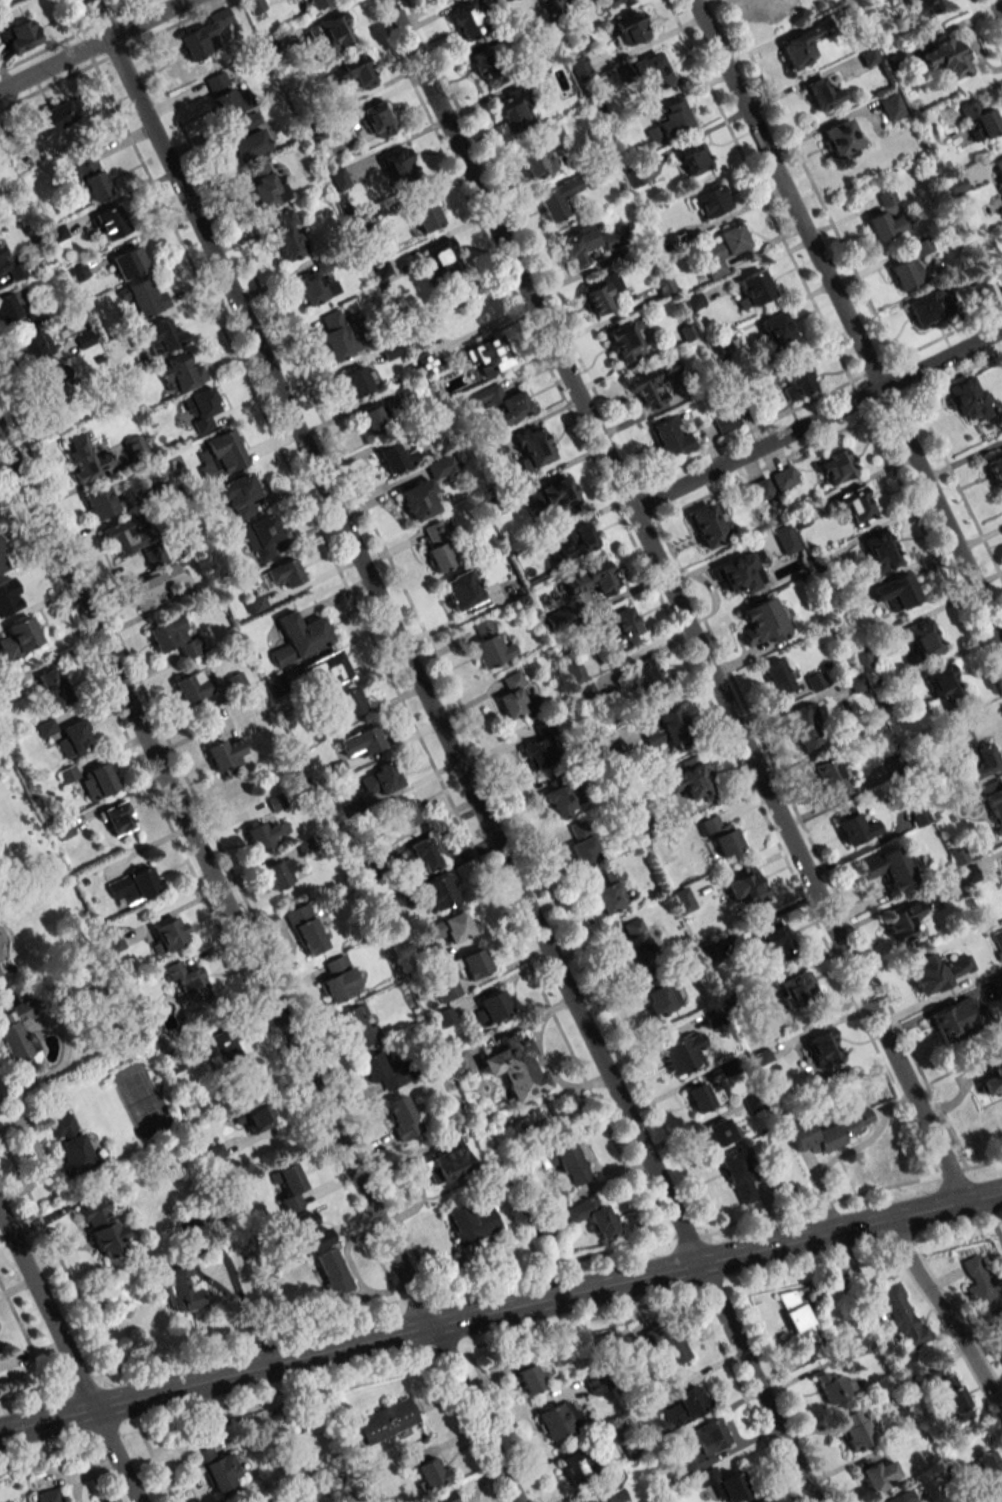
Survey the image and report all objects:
building: (316, 3)
building: (608, 3)
building: (255, 5)
building: (925, 7)
building: (775, 8)
road: (996, 11)
road: (435, 15)
building: (466, 22)
building: (628, 29)
building: (203, 34)
building: (330, 34)
building: (21, 36)
road: (95, 46)
building: (802, 46)
building: (868, 56)
building: (945, 57)
building: (487, 68)
building: (352, 72)
building: (650, 72)
building: (821, 94)
building: (224, 95)
building: (891, 106)
building: (512, 111)
building: (57, 116)
building: (377, 119)
building: (980, 120)
building: (669, 121)
building: (244, 122)
building: (840, 140)
building: (248, 145)
building: (693, 157)
building: (537, 163)
building: (398, 165)
building: (998, 169)
building: (89, 176)
building: (634, 178)
building: (338, 179)
building: (265, 184)
building: (956, 184)
building: (886, 197)
building: (556, 199)
building: (710, 201)
building: (425, 215)
building: (109, 222)
building: (884, 225)
building: (288, 236)
building: (666, 241)
building: (589, 243)
building: (722, 250)
building: (443, 257)
building: (128, 262)
building: (382, 269)
building: (9, 270)
building: (906, 273)
building: (314, 284)
building: (753, 289)
building: (602, 293)
building: (143, 298)
building: (9, 307)
building: (927, 308)
road: (847, 320)
building: (776, 331)
building: (687, 332)
building: (338, 335)
building: (158, 337)
building: (84, 339)
building: (624, 340)
building: (33, 347)
building: (390, 350)
building: (488, 356)
building: (179, 374)
building: (359, 381)
building: (56, 383)
building: (798, 383)
building: (645, 388)
building: (967, 399)
building: (502, 403)
building: (200, 409)
road: (816, 419)
building: (374, 420)
building: (724, 422)
building: (668, 436)
building: (531, 446)
building: (135, 447)
building: (224, 451)
building: (397, 457)
building: (88, 464)
building: (835, 466)
building: (441, 467)
building: (994, 470)
building: (783, 478)
building: (238, 494)
building: (555, 496)
building: (418, 500)
building: (101, 501)
building: (856, 505)
building: (709, 524)
building: (121, 531)
building: (261, 537)
building: (784, 539)
building: (578, 542)
building: (440, 547)
building: (1, 550)
building: (879, 552)
building: (1, 567)
building: (739, 573)
building: (593, 580)
building: (153, 586)
building: (463, 592)
building: (896, 592)
road: (674, 598)
building: (255, 604)
building: (762, 622)
building: (624, 625)
road: (392, 630)
building: (175, 637)
building: (20, 638)
building: (299, 638)
building: (923, 639)
building: (489, 646)
building: (327, 668)
building: (574, 671)
building: (777, 676)
building: (649, 679)
building: (236, 682)
building: (275, 684)
building: (942, 685)
building: (191, 687)
building: (52, 688)
building: (515, 697)
building: (349, 703)
building: (45, 728)
building: (663, 728)
building: (803, 729)
building: (74, 738)
building: (360, 742)
building: (607, 745)
building: (538, 753)
building: (225, 754)
building: (975, 755)
building: (828, 778)
building: (380, 779)
building: (92, 780)
building: (688, 780)
building: (559, 801)
building: (994, 801)
building: (275, 802)
building: (403, 813)
building: (117, 818)
building: (853, 826)
building: (266, 835)
building: (720, 835)
building: (305, 844)
building: (582, 845)
building: (422, 854)
building: (889, 868)
building: (280, 873)
building: (968, 874)
road: (214, 881)
building: (133, 886)
building: (745, 886)
building: (610, 891)
building: (438, 892)
building: (683, 900)
building: (903, 924)
building: (451, 927)
building: (305, 930)
building: (168, 935)
building: (997, 939)
building: (112, 940)
building: (774, 940)
building: (635, 945)
building: (472, 964)
building: (0, 970)
building: (938, 971)
building: (337, 980)
building: (187, 981)
building: (796, 987)
building: (448, 992)
building: (661, 999)
building: (492, 1007)
building: (445, 1017)
building: (957, 1017)
building: (359, 1026)
building: (18, 1035)
building: (223, 1045)
building: (823, 1048)
building: (682, 1052)
building: (458, 1061)
building: (515, 1068)
road: (55, 1070)
building: (381, 1072)
building: (991, 1081)
building: (703, 1097)
building: (752, 1102)
building: (252, 1116)
building: (401, 1117)
building: (721, 1131)
building: (829, 1131)
building: (69, 1144)
road: (846, 1151)
building: (447, 1159)
building: (568, 1162)
building: (738, 1177)
building: (289, 1186)
building: (594, 1217)
building: (471, 1223)
building: (102, 1226)
building: (305, 1235)
building: (332, 1272)
road: (202, 1277)
building: (980, 1288)
building: (182, 1290)
road: (547, 1295)
road: (945, 1312)
building: (799, 1316)
building: (903, 1317)
road: (500, 1340)
building: (997, 1340)
building: (664, 1342)
road: (70, 1357)
building: (530, 1373)
road: (757, 1380)
building: (596, 1382)
building: (835, 1387)
building: (953, 1398)
building: (684, 1402)
road: (474, 1412)
road: (47, 1417)
building: (560, 1418)
building: (386, 1420)
building: (855, 1429)
building: (703, 1444)
building: (578, 1465)
building: (218, 1470)
building: (430, 1473)
building: (878, 1475)
building: (988, 1476)
building: (724, 1484)
building: (50, 1495)
building: (602, 1496)
building: (901, 1497)
building: (442, 1498)
building: (298, 1501)

